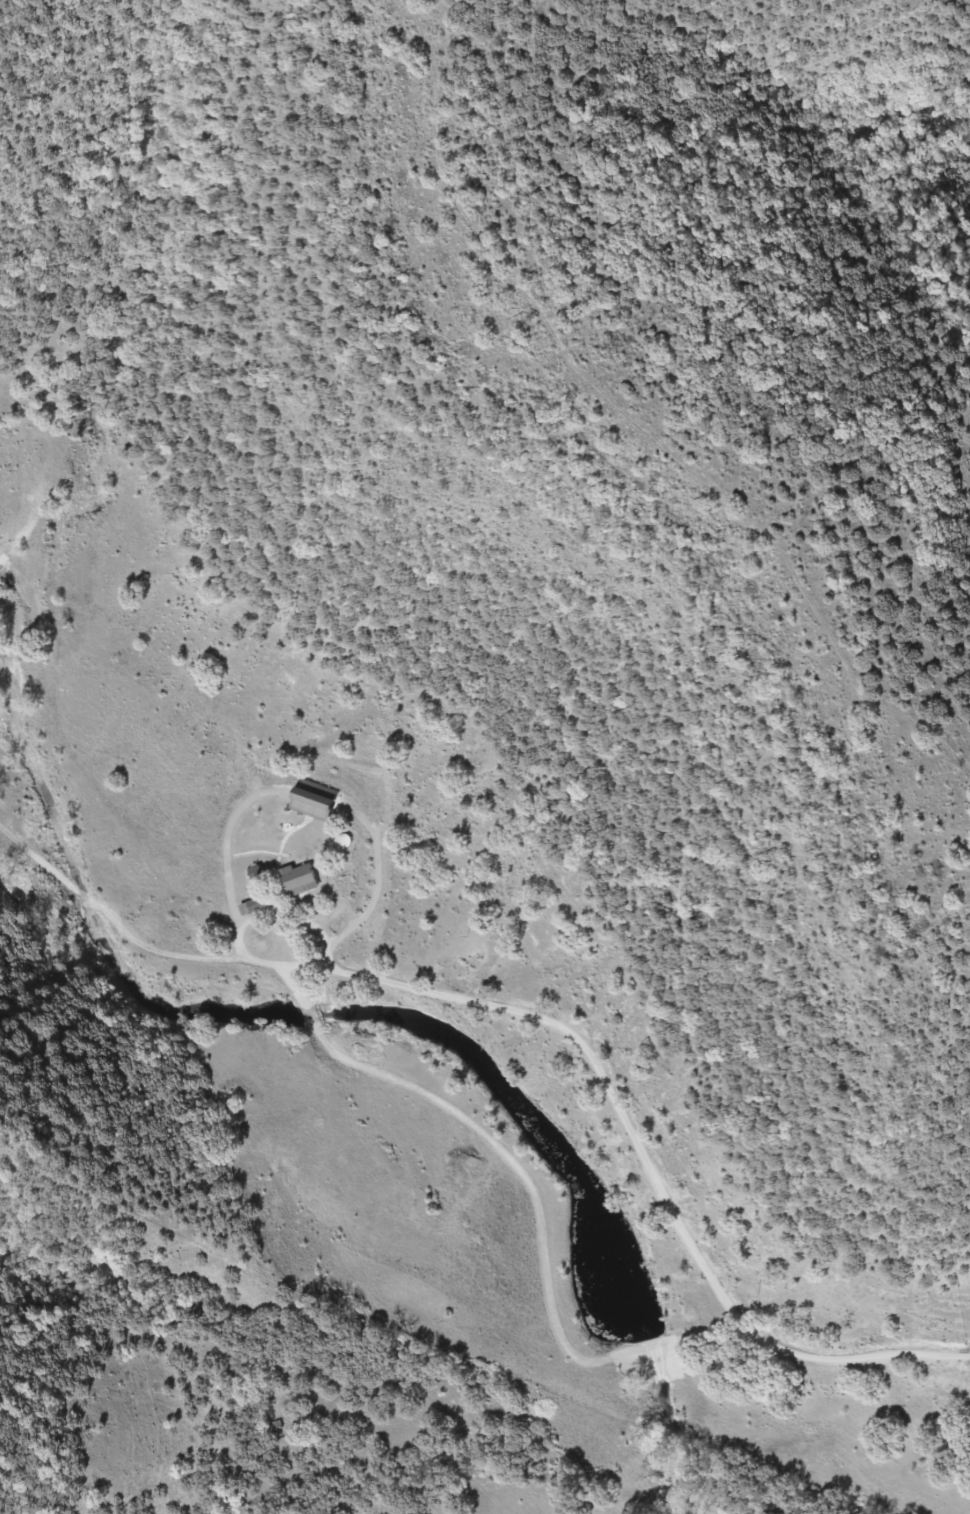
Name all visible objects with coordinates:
building: (301, 881)
building: (258, 906)

